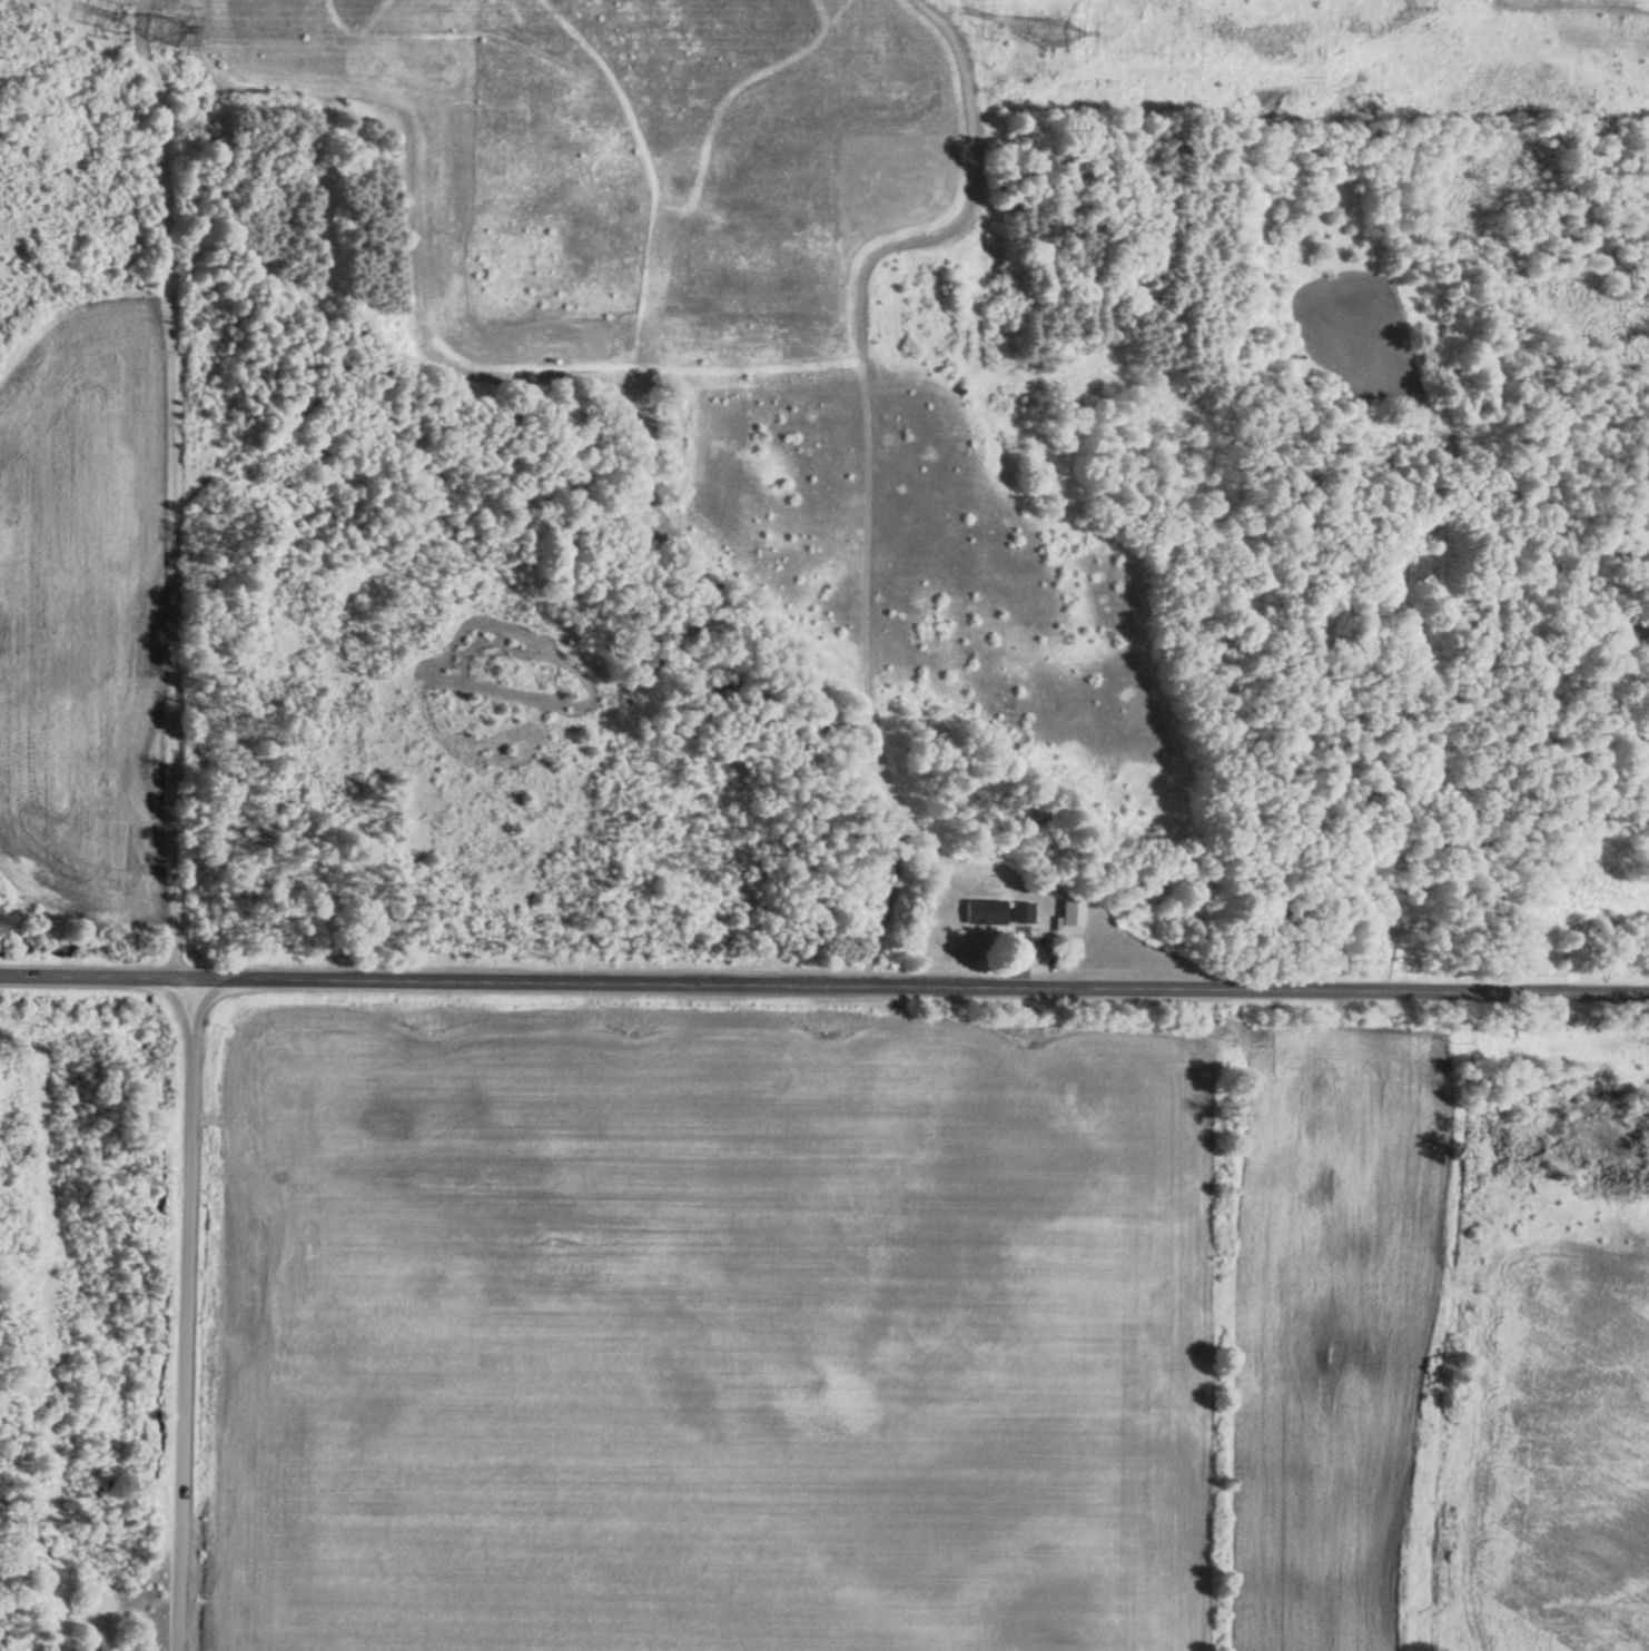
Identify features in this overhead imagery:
power tower: (168, 26)
power tower: (1045, 28)
building: (981, 916)
building: (1020, 916)
road: (823, 985)
road: (185, 1314)

